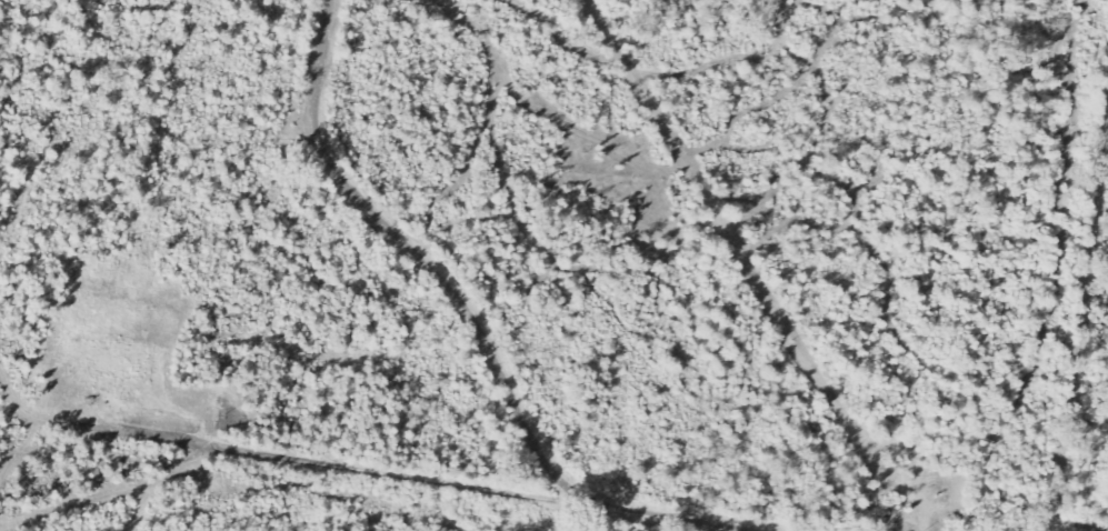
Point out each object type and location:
road: (1034, 263)

